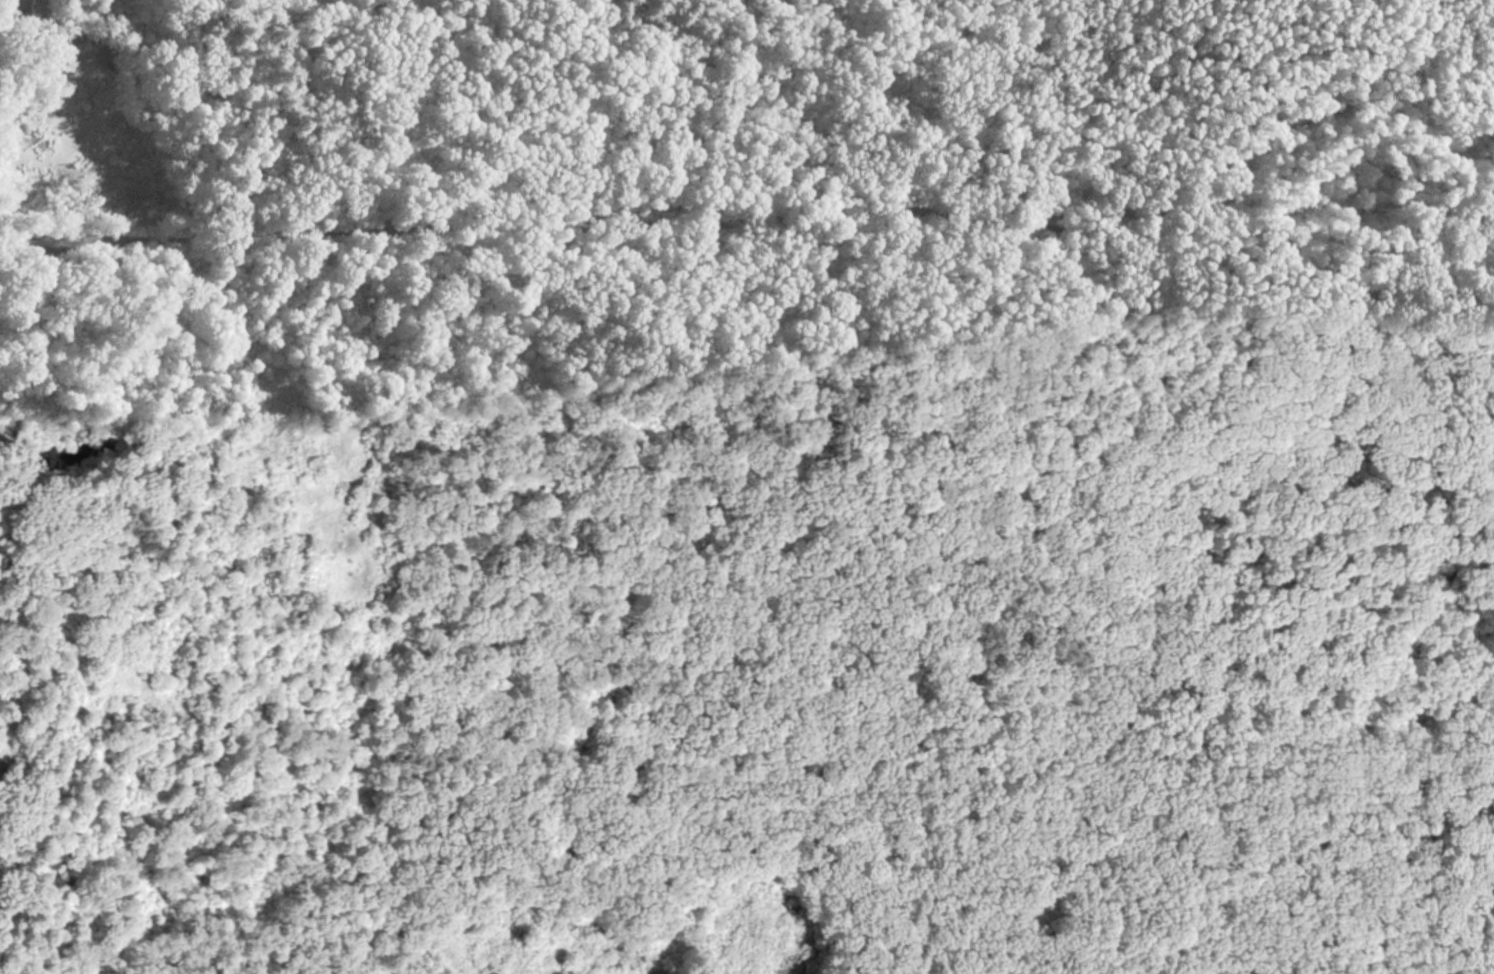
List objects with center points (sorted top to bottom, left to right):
road: (889, 106)
road: (776, 214)
park: (747, 486)

